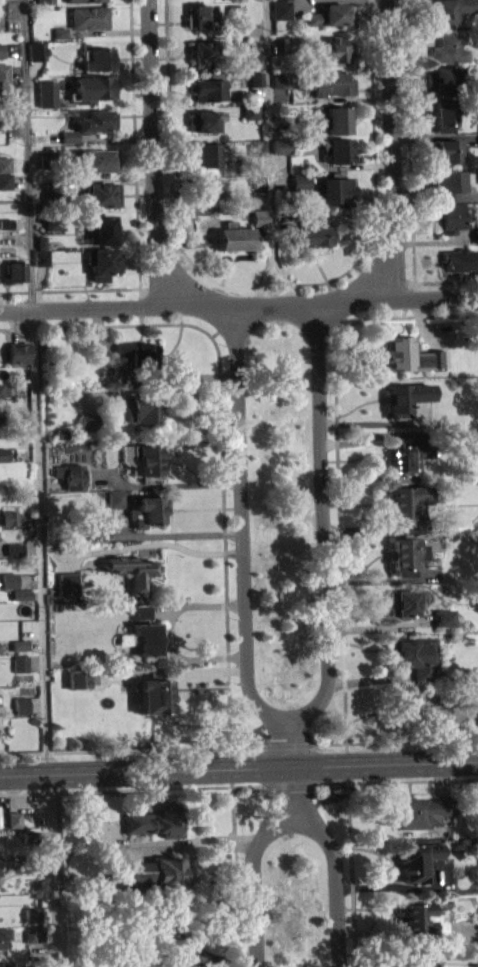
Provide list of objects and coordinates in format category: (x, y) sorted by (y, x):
building: (79, 0)
building: (44, 1)
building: (3, 3)
building: (452, 9)
building: (280, 10)
building: (234, 14)
building: (331, 14)
building: (88, 16)
building: (200, 16)
building: (59, 32)
building: (59, 39)
building: (286, 45)
building: (1, 48)
building: (450, 48)
building: (36, 49)
building: (333, 49)
building: (203, 51)
building: (1, 56)
building: (99, 58)
building: (255, 61)
building: (3, 72)
building: (443, 78)
building: (255, 79)
building: (280, 79)
building: (324, 83)
building: (93, 86)
building: (209, 89)
building: (4, 92)
building: (46, 102)
building: (250, 112)
building: (443, 114)
building: (95, 120)
building: (203, 120)
building: (327, 120)
building: (6, 121)
road: (269, 131)
road: (170, 134)
road: (374, 135)
road: (408, 141)
building: (69, 142)
building: (282, 146)
building: (257, 147)
building: (448, 149)
building: (338, 150)
road: (27, 154)
road: (393, 155)
road: (154, 156)
building: (208, 157)
building: (48, 159)
building: (98, 159)
building: (5, 162)
building: (5, 170)
building: (5, 178)
building: (301, 180)
building: (257, 183)
building: (448, 183)
building: (53, 186)
building: (5, 187)
building: (335, 191)
building: (206, 193)
building: (101, 194)
building: (259, 217)
building: (450, 217)
building: (5, 221)
building: (54, 221)
building: (259, 226)
building: (102, 228)
building: (53, 230)
building: (311, 231)
building: (475, 234)
building: (234, 237)
building: (475, 242)
building: (41, 256)
building: (463, 259)
building: (103, 261)
building: (40, 263)
building: (13, 271)
road: (445, 281)
road: (284, 282)
road: (264, 283)
road: (255, 285)
road: (69, 289)
road: (239, 304)
road: (139, 305)
road: (404, 315)
building: (16, 350)
building: (409, 353)
building: (136, 354)
building: (3, 389)
building: (405, 395)
building: (3, 397)
building: (140, 404)
building: (88, 418)
building: (1, 420)
building: (88, 427)
building: (60, 432)
road: (220, 432)
building: (2, 453)
building: (104, 453)
building: (406, 454)
building: (145, 457)
building: (3, 461)
building: (70, 473)
building: (0, 487)
building: (1, 494)
building: (114, 498)
building: (405, 501)
road: (338, 503)
building: (146, 509)
building: (7, 515)
building: (7, 524)
road: (324, 524)
building: (96, 525)
road: (241, 525)
road: (39, 541)
road: (150, 542)
building: (12, 547)
building: (405, 553)
building: (13, 556)
building: (131, 568)
building: (7, 580)
building: (66, 582)
building: (19, 593)
building: (20, 601)
building: (401, 601)
building: (140, 610)
building: (443, 615)
building: (141, 617)
building: (444, 624)
building: (146, 636)
building: (18, 643)
building: (19, 651)
building: (414, 653)
building: (19, 661)
building: (20, 670)
building: (77, 678)
building: (152, 693)
building: (411, 702)
building: (20, 704)
building: (21, 712)
road: (394, 741)
road: (288, 744)
road: (132, 748)
road: (346, 762)
road: (231, 766)
road: (239, 767)
road: (291, 767)
road: (397, 780)
road: (290, 784)
road: (132, 788)
building: (421, 811)
building: (13, 818)
building: (153, 821)
building: (31, 836)
building: (418, 859)
building: (23, 864)
road: (53, 869)
building: (156, 872)
road: (350, 874)
road: (234, 876)
road: (335, 878)
road: (254, 879)
building: (31, 914)
building: (422, 918)
building: (31, 921)
building: (34, 934)
building: (3, 937)
building: (474, 957)
building: (417, 960)
building: (3, 965)

